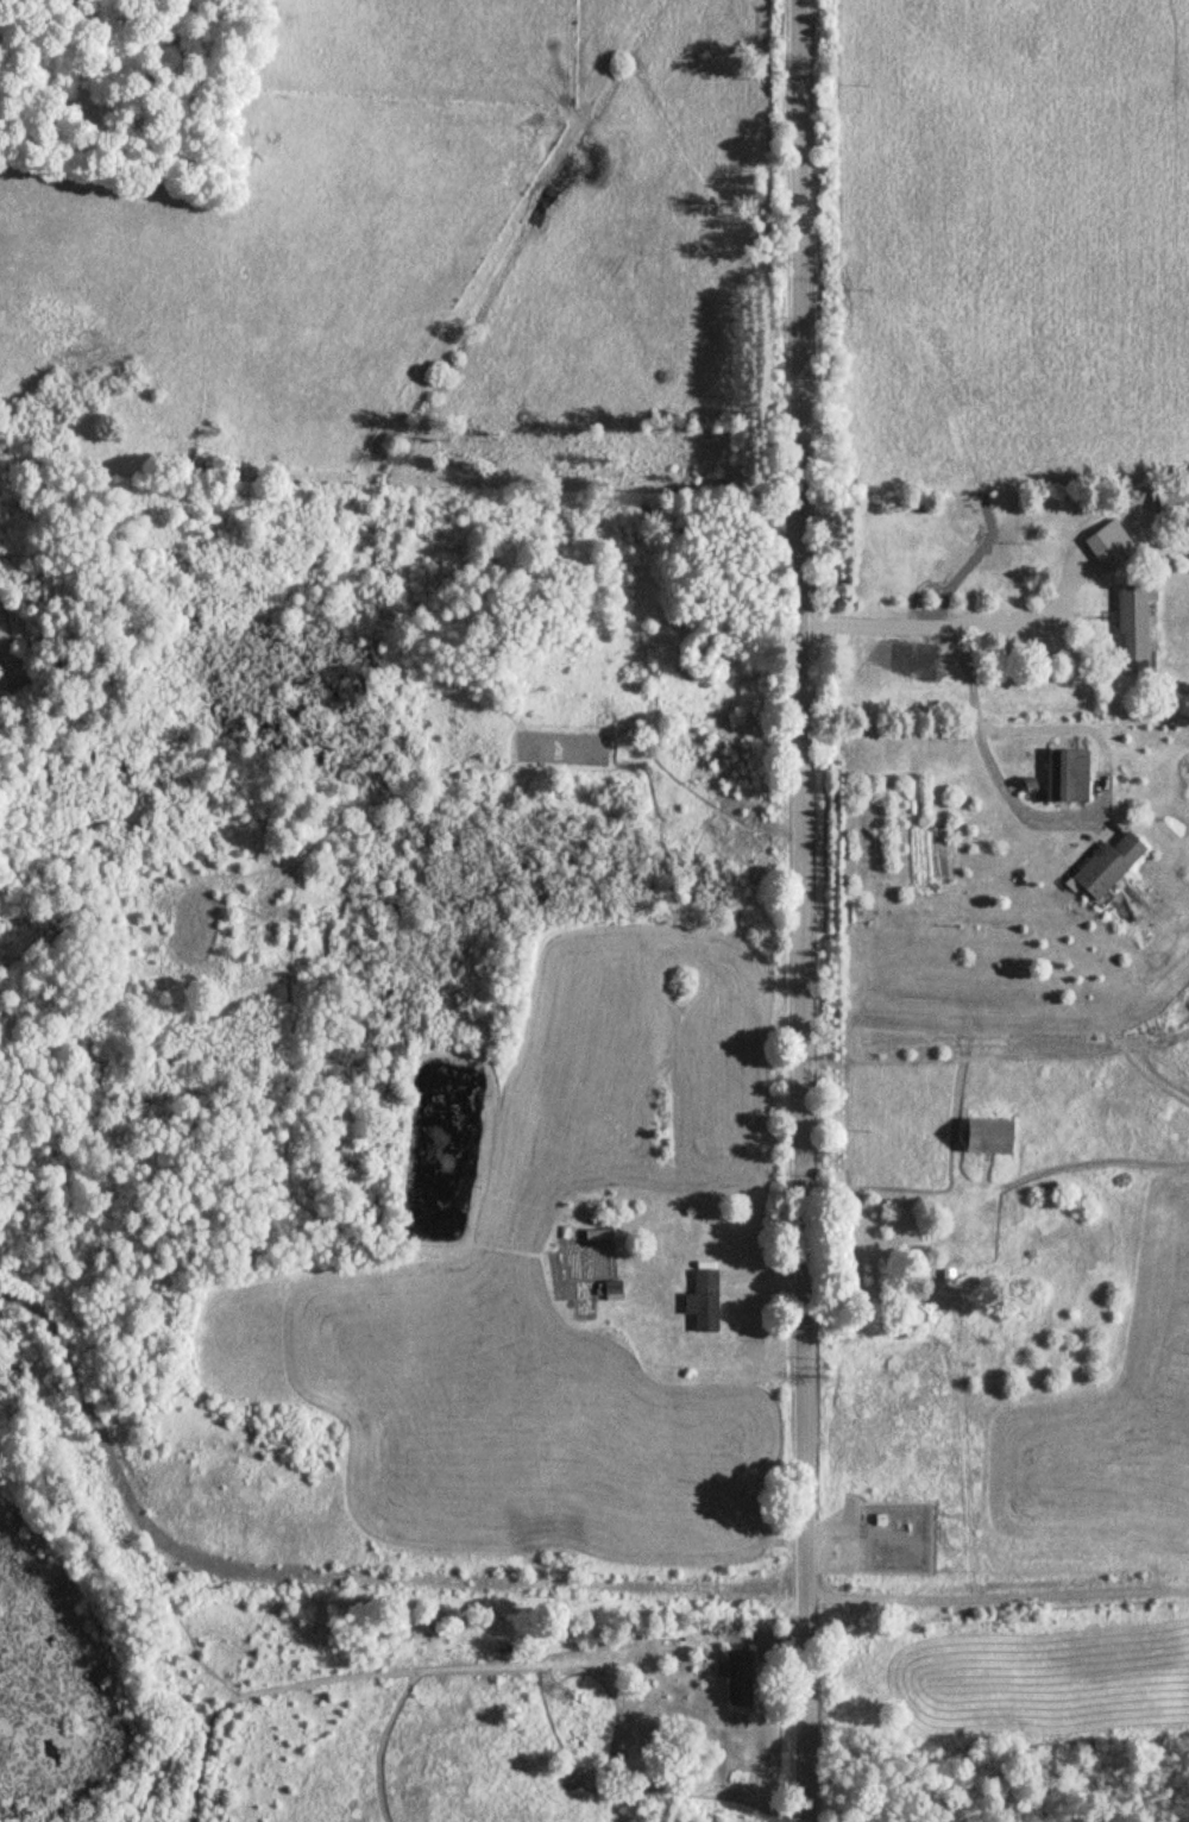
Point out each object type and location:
building: (1109, 545)
building: (1133, 622)
building: (1064, 773)
building: (1102, 865)
road: (776, 910)
building: (982, 1136)
building: (703, 1300)
building: (735, 1678)

